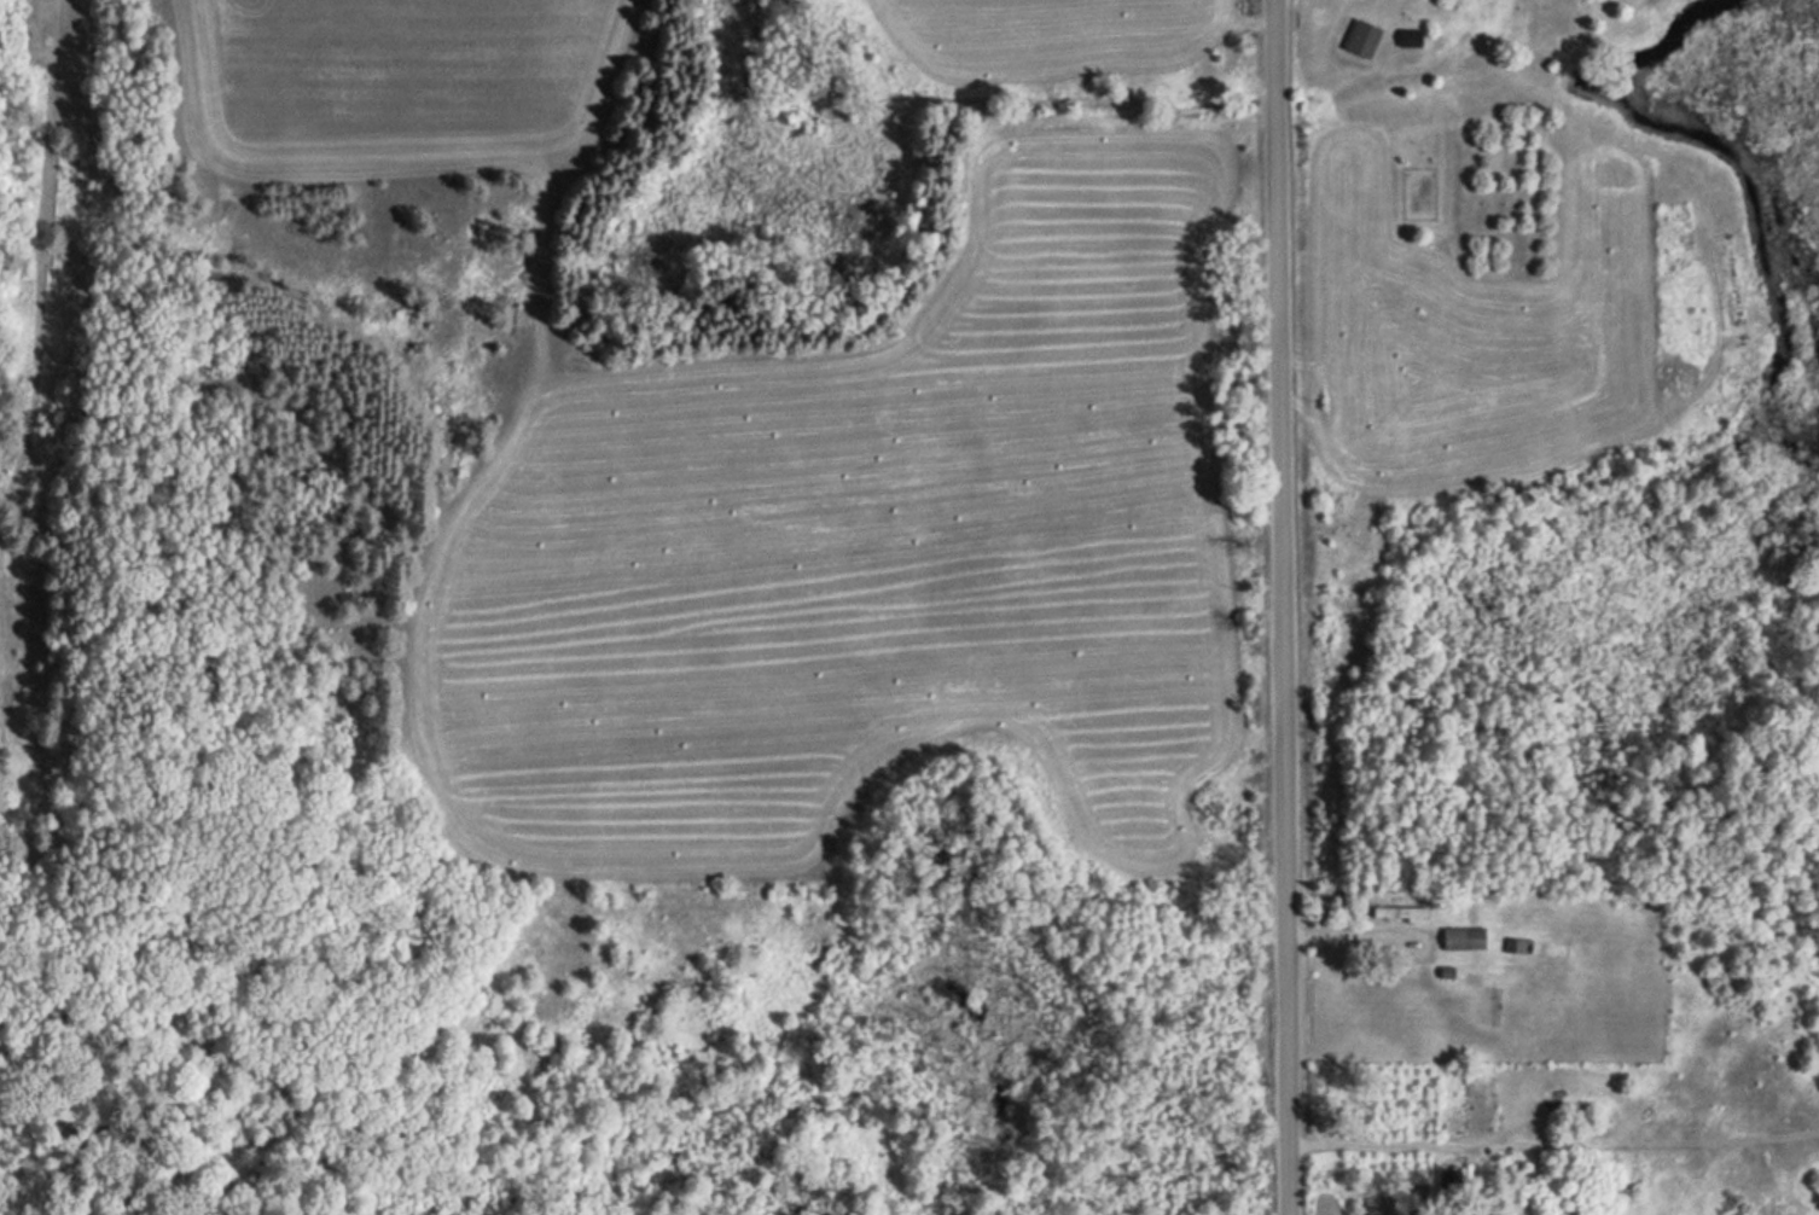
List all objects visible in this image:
building: (1360, 40)
road: (1286, 607)
building: (1397, 912)
building: (1461, 938)
building: (1513, 946)
building: (1447, 1179)
building: (1416, 1197)
building: (1372, 1214)

